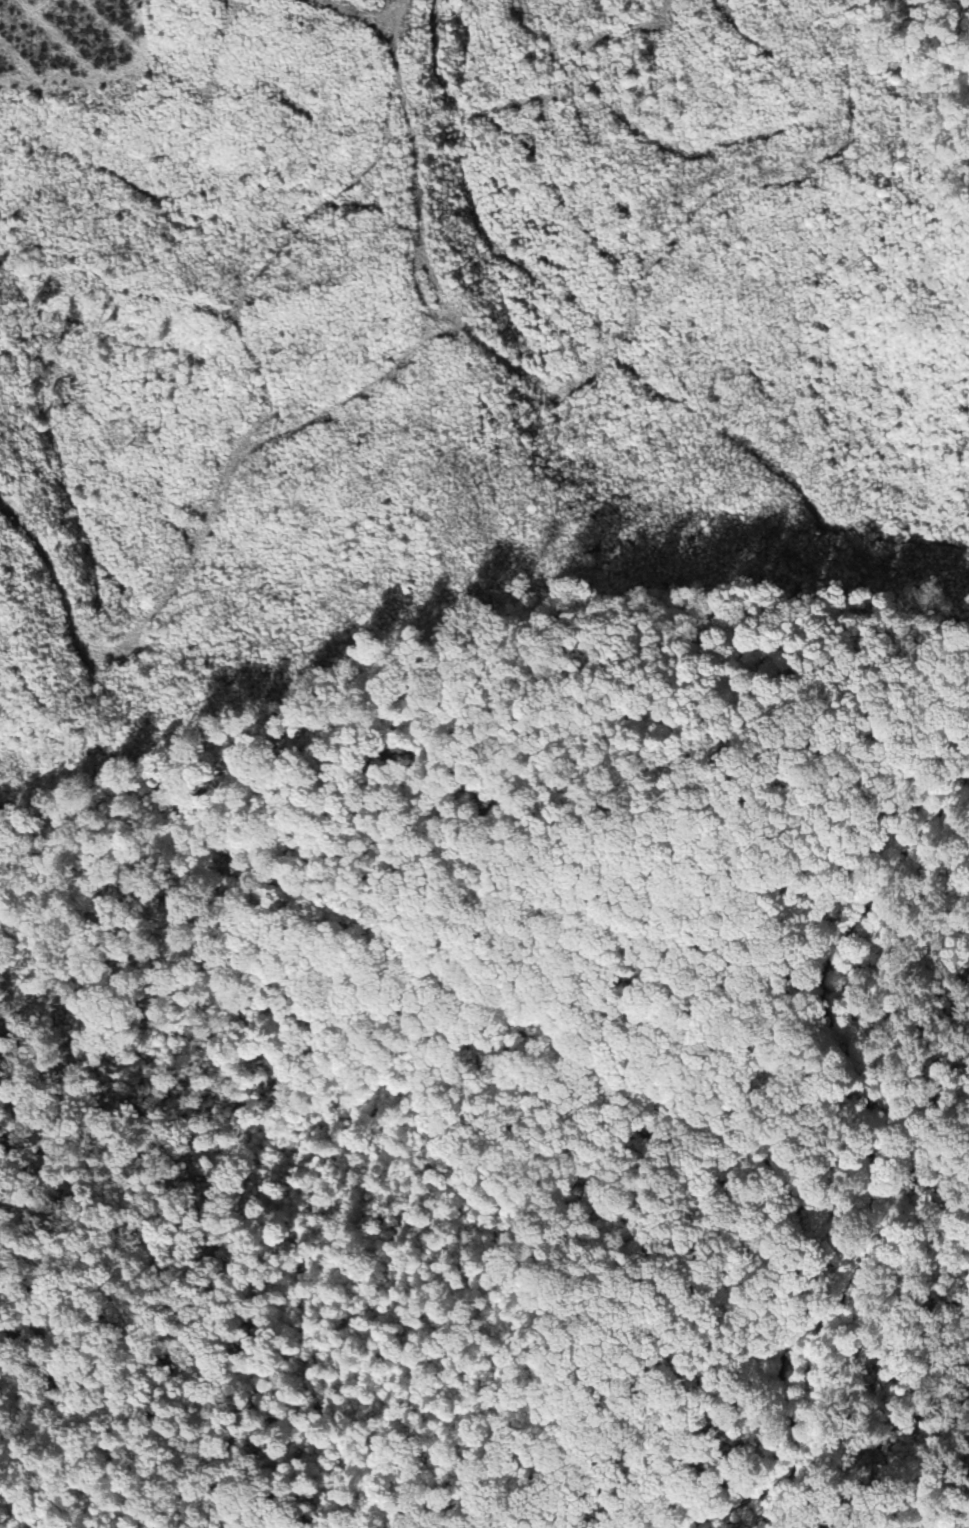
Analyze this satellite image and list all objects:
road: (869, 1169)

